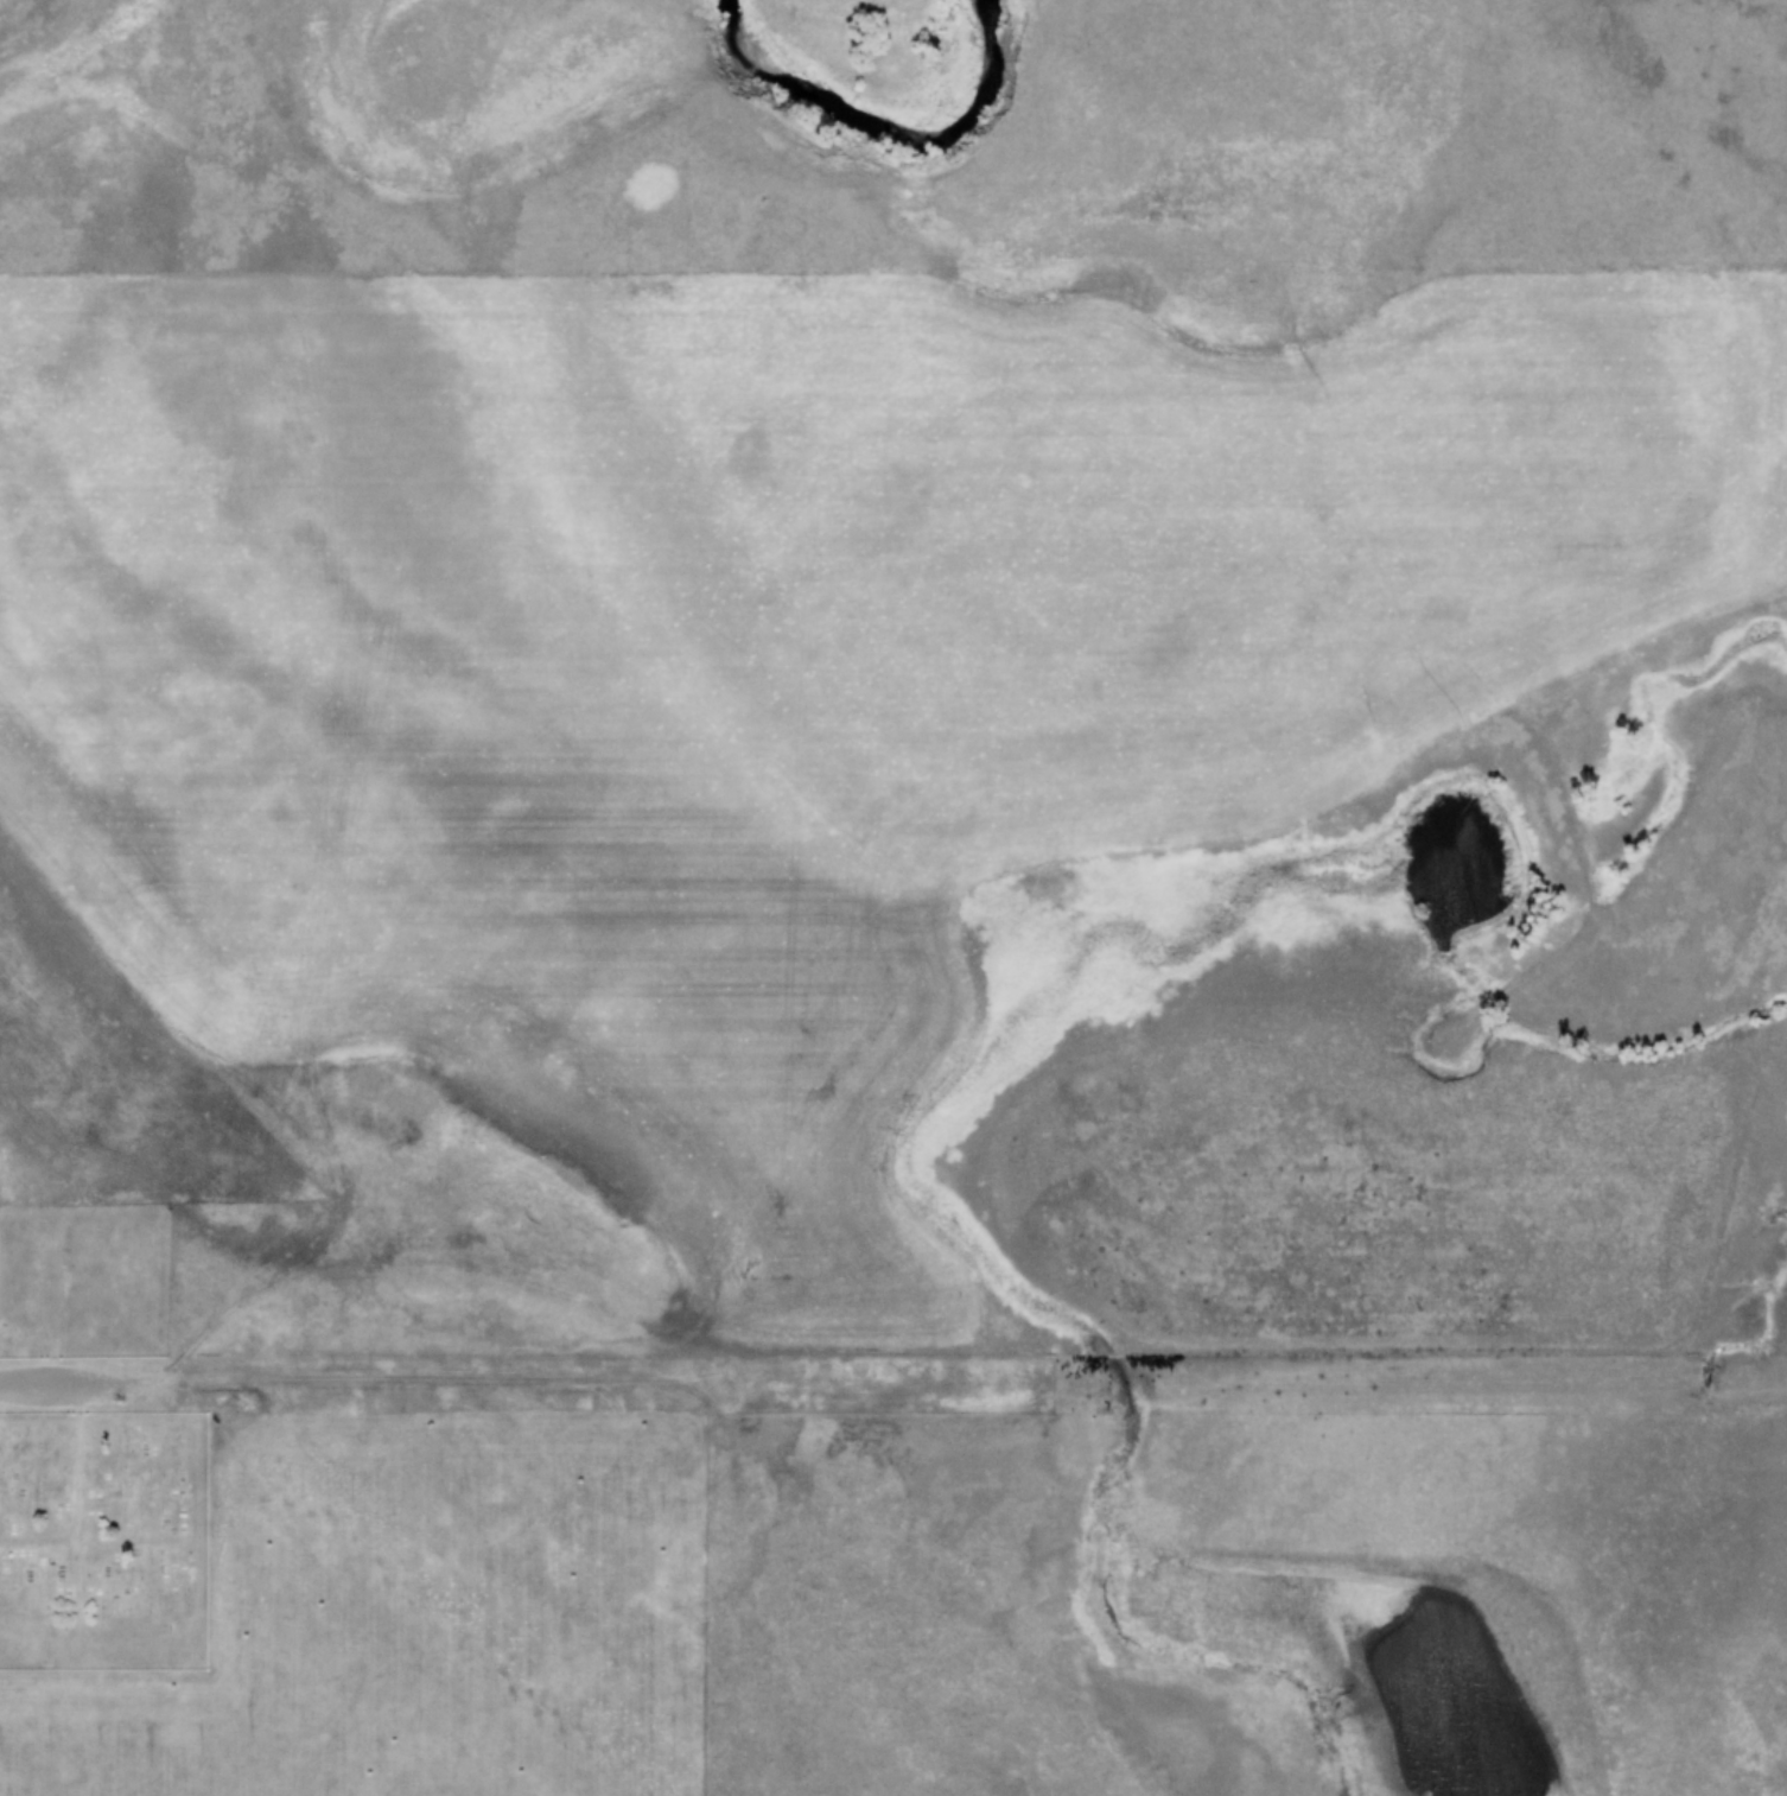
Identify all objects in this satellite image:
road: (47, 1382)
road: (78, 1512)

